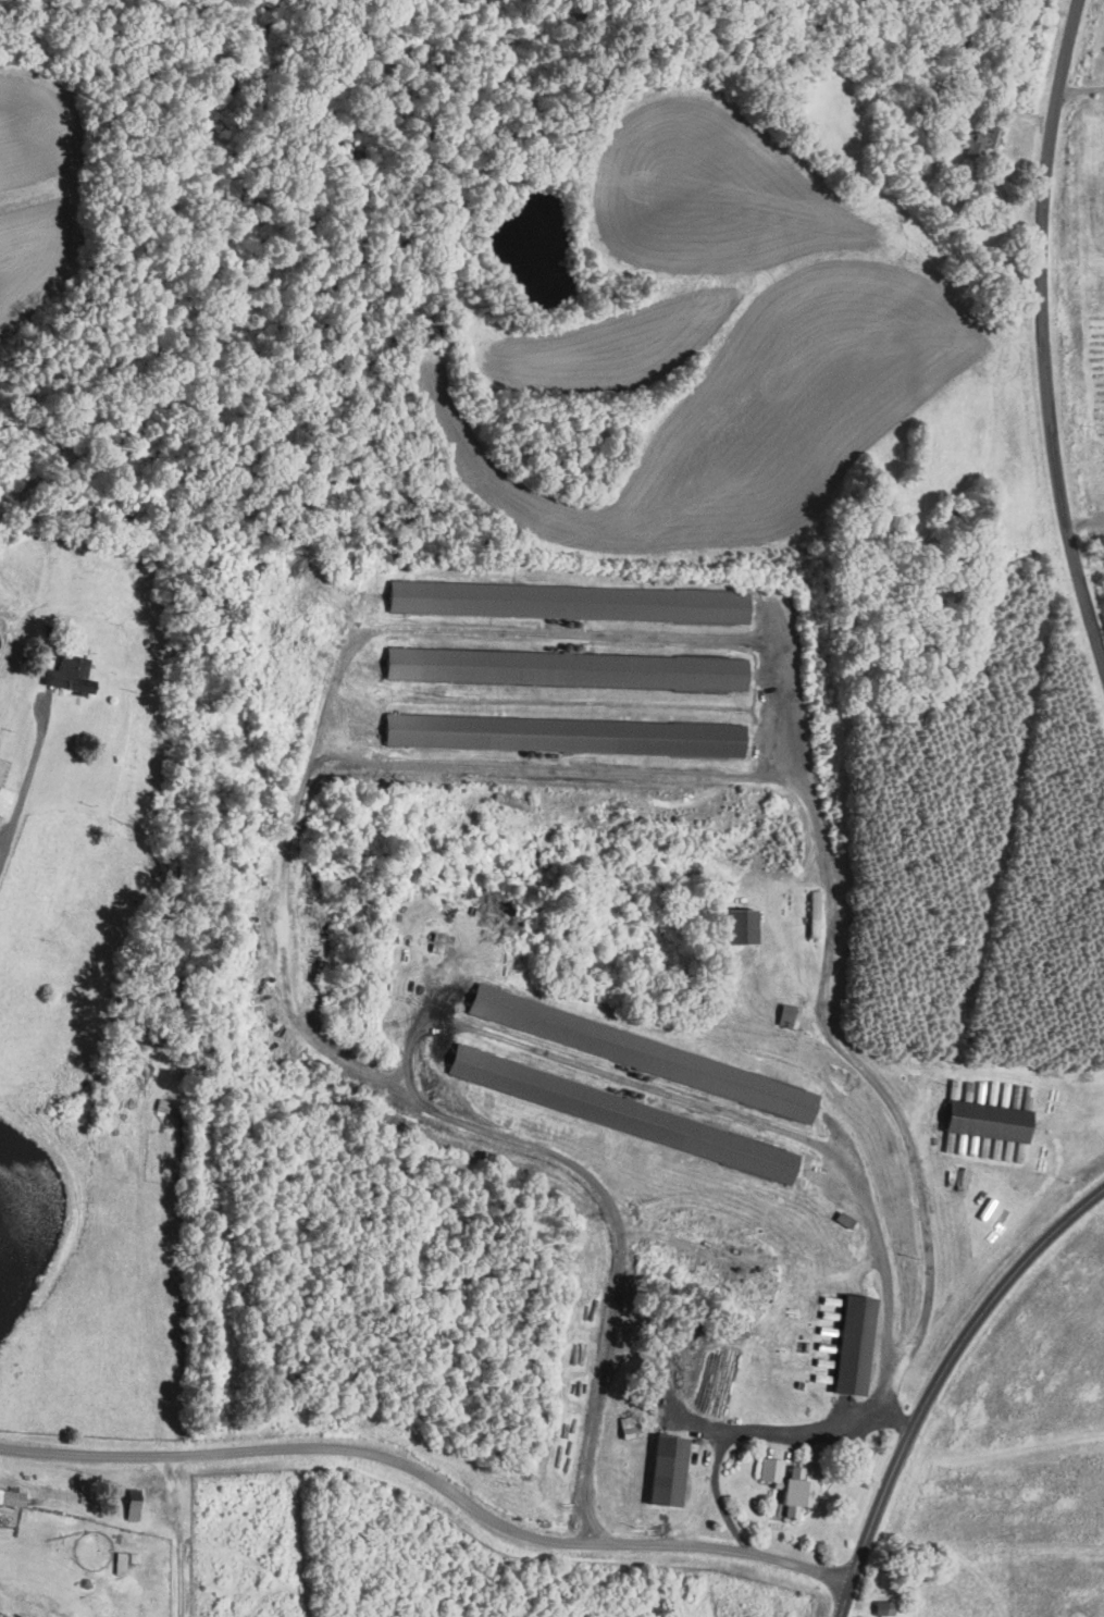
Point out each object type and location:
road: (1084, 87)
building: (981, 139)
road: (1049, 331)
road: (1086, 520)
building: (566, 601)
building: (563, 667)
building: (67, 674)
building: (561, 733)
road: (404, 758)
road: (21, 782)
building: (736, 925)
road: (820, 949)
building: (784, 1013)
building: (640, 1052)
road: (410, 1084)
road: (704, 1102)
building: (620, 1112)
building: (985, 1122)
road: (484, 1128)
building: (851, 1345)
road: (669, 1381)
road: (939, 1383)
road: (883, 1388)
road: (894, 1416)
road: (734, 1432)
building: (663, 1470)
road: (433, 1474)
building: (786, 1485)
building: (10, 1497)
building: (129, 1506)
building: (124, 1559)
building: (881, 1608)

